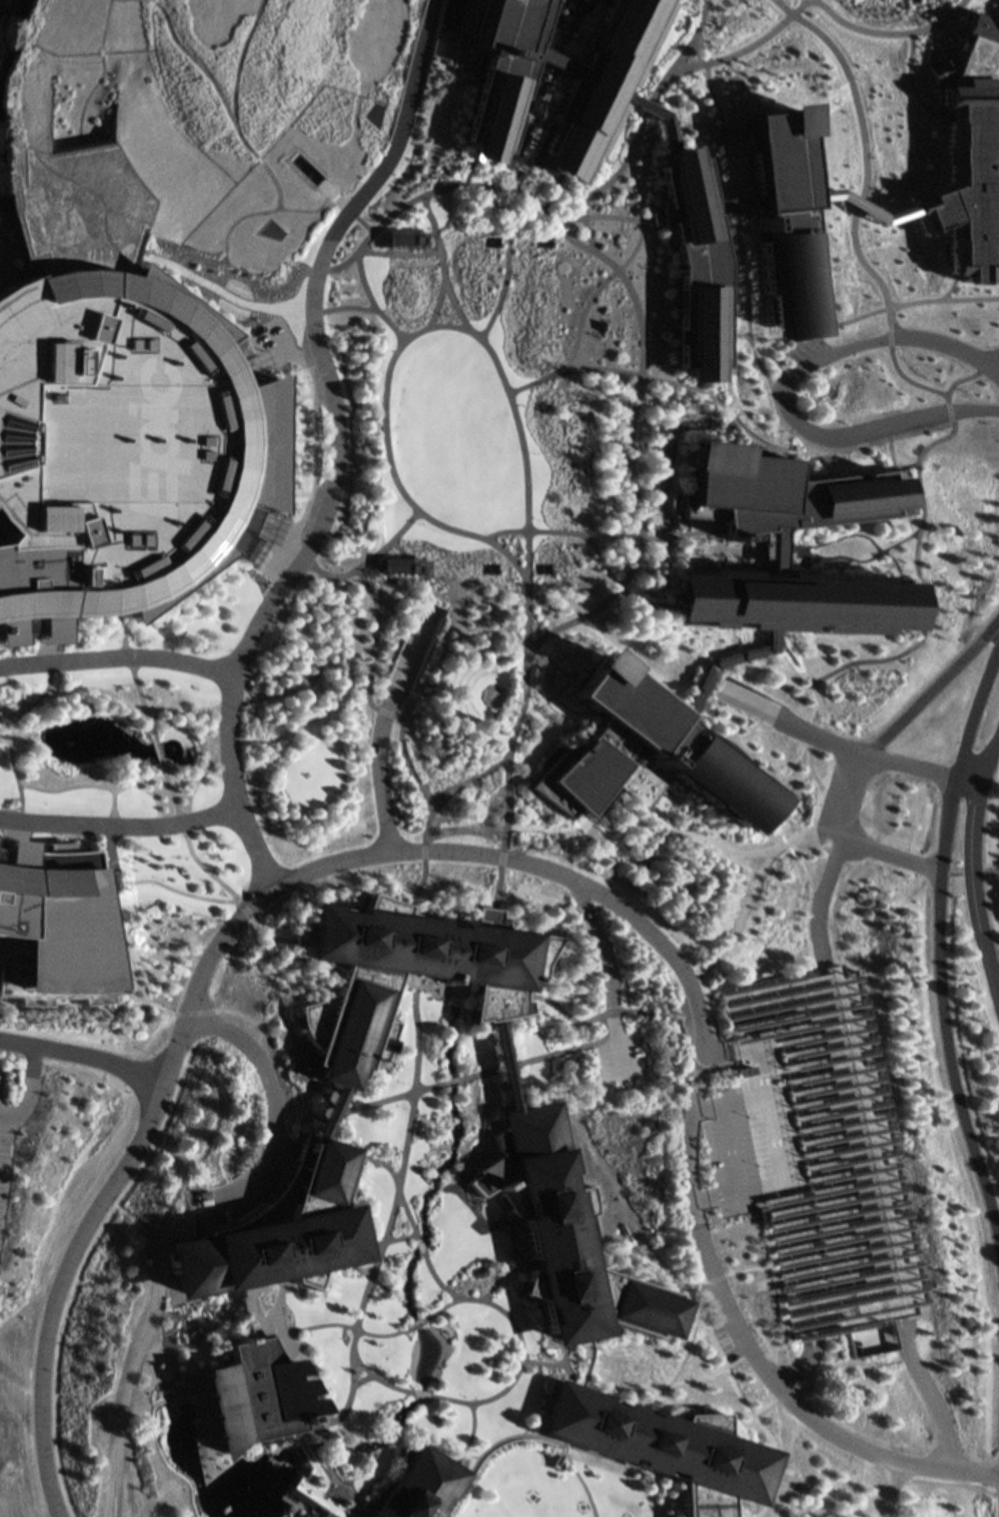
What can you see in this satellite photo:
road: (452, 24)
road: (894, 25)
road: (34, 52)
road: (86, 73)
building: (585, 87)
road: (663, 87)
road: (217, 111)
road: (660, 118)
building: (186, 120)
road: (524, 131)
building: (973, 157)
road: (377, 165)
road: (48, 172)
road: (476, 186)
road: (820, 191)
road: (302, 207)
road: (861, 207)
road: (252, 208)
road: (557, 229)
building: (779, 243)
road: (2, 251)
road: (437, 261)
road: (746, 281)
road: (217, 290)
road: (457, 308)
road: (575, 350)
road: (997, 366)
road: (541, 381)
road: (670, 383)
road: (788, 393)
building: (526, 402)
parking lot: (526, 402)
building: (122, 429)
road: (794, 430)
road: (524, 453)
road: (437, 522)
road: (311, 538)
building: (772, 543)
road: (632, 564)
building: (27, 587)
road: (117, 657)
road: (717, 660)
road: (132, 671)
road: (346, 676)
road: (934, 690)
road: (817, 699)
road: (975, 712)
road: (188, 716)
road: (7, 719)
road: (788, 723)
road: (382, 725)
road: (4, 737)
road: (156, 748)
road: (405, 753)
road: (990, 758)
building: (625, 761)
road: (910, 765)
road: (969, 777)
road: (820, 785)
road: (852, 800)
road: (18, 803)
road: (111, 812)
road: (244, 818)
road: (765, 820)
road: (122, 826)
road: (182, 828)
road: (506, 835)
road: (796, 836)
road: (700, 839)
road: (906, 853)
road: (889, 856)
road: (974, 883)
road: (236, 899)
road: (820, 900)
road: (736, 918)
building: (54, 922)
road: (269, 922)
road: (232, 936)
road: (598, 948)
building: (406, 974)
road: (280, 987)
road: (191, 1008)
road: (942, 1009)
road: (268, 1041)
parking lot: (616, 1053)
road: (81, 1059)
road: (524, 1063)
road: (501, 1066)
road: (296, 1075)
road: (448, 1083)
road: (21, 1087)
road: (388, 1096)
road: (271, 1105)
road: (334, 1105)
parking lot: (0, 1128)
parking lot: (780, 1157)
building: (675, 1161)
parking lot: (675, 1161)
road: (398, 1186)
road: (681, 1192)
road: (393, 1196)
building: (291, 1219)
road: (386, 1241)
building: (560, 1241)
road: (419, 1248)
road: (281, 1257)
road: (277, 1290)
road: (467, 1302)
road: (437, 1307)
road: (411, 1325)
road: (349, 1327)
road: (578, 1337)
road: (757, 1357)
road: (536, 1361)
road: (802, 1361)
road: (371, 1378)
road: (509, 1381)
road: (930, 1384)
road: (576, 1388)
building: (244, 1390)
road: (415, 1395)
road: (657, 1395)
road: (119, 1408)
road: (555, 1411)
road: (577, 1414)
road: (708, 1426)
road: (671, 1431)
road: (463, 1436)
road: (771, 1440)
building: (656, 1442)
road: (660, 1444)
road: (683, 1451)
road: (475, 1456)
road: (661, 1460)
road: (298, 1464)
road: (601, 1467)
road: (729, 1468)
park: (227, 1476)
building: (410, 1483)
road: (887, 1487)
road: (585, 1489)
road: (686, 1493)
road: (712, 1497)

